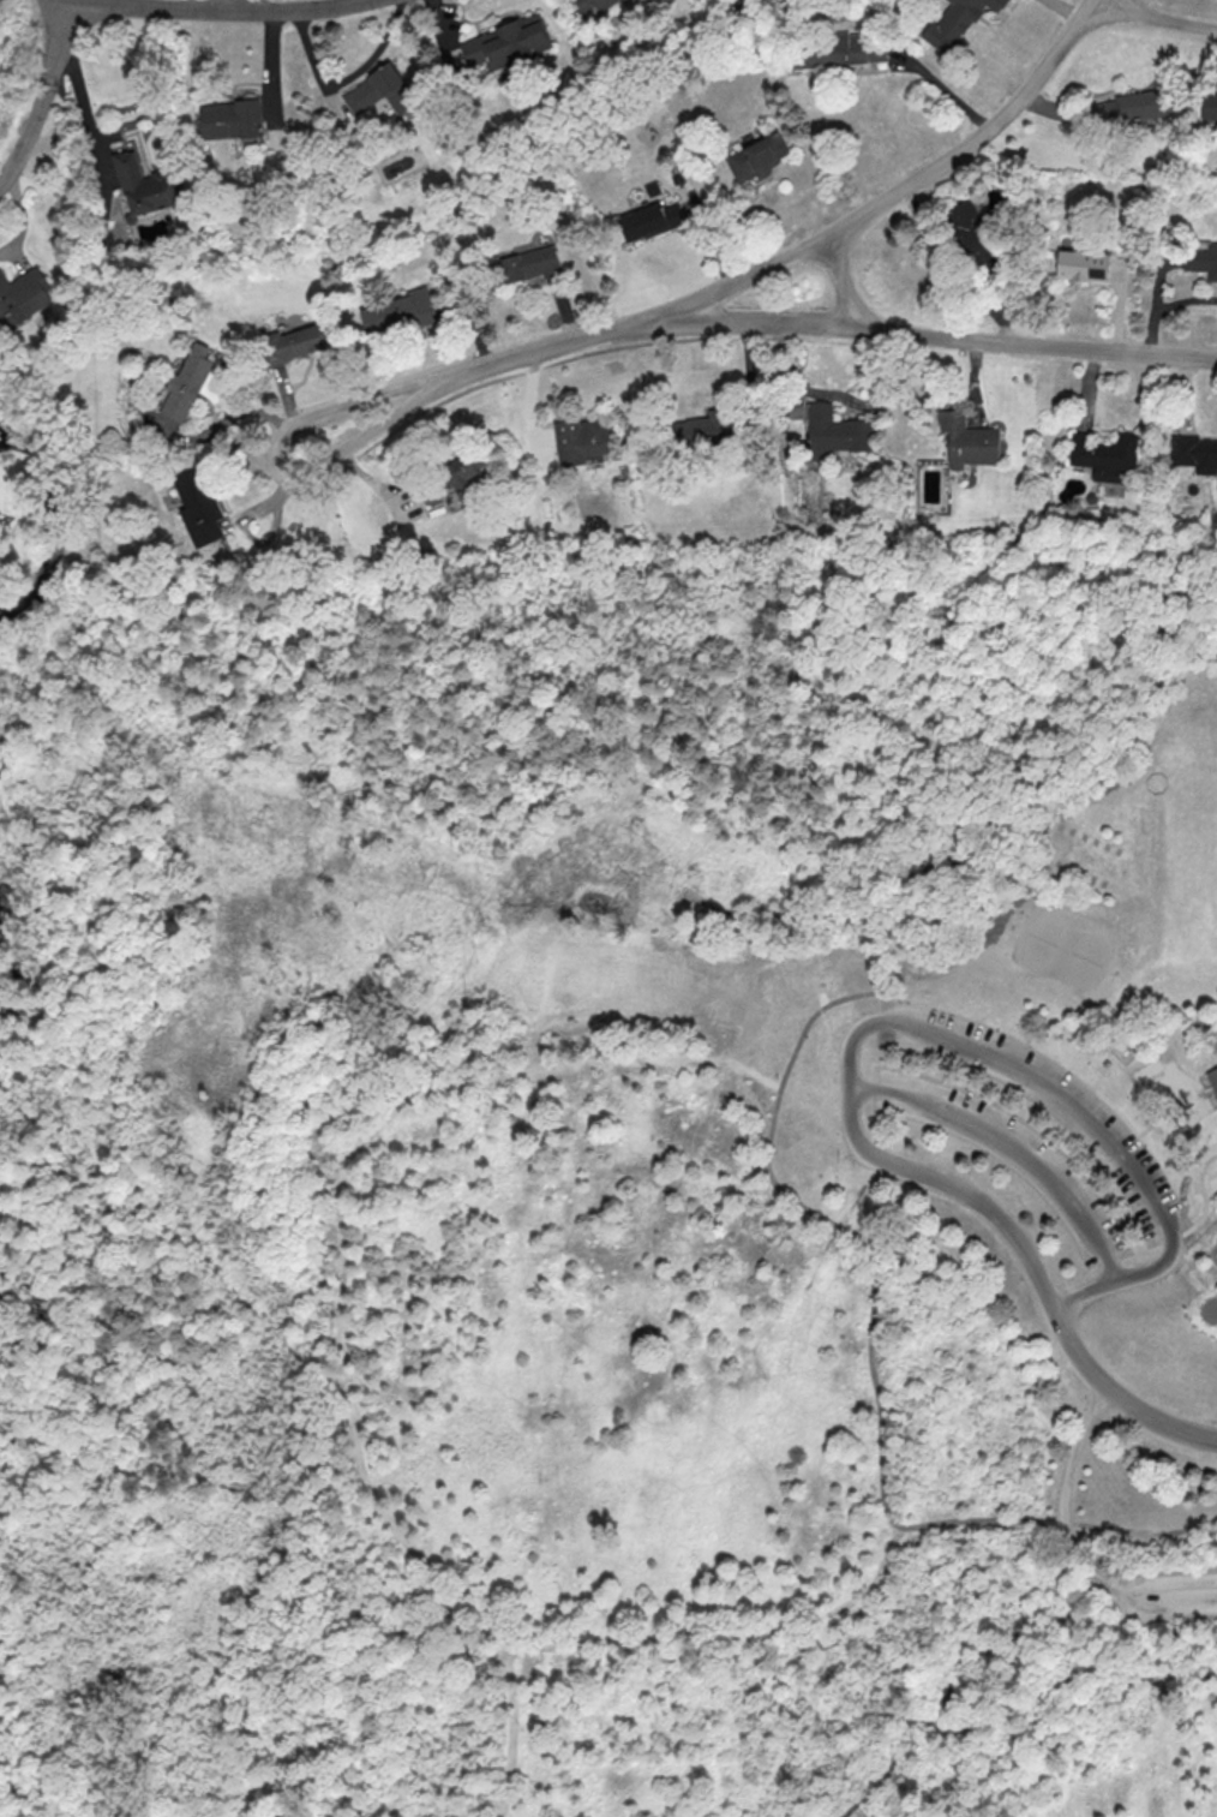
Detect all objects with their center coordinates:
building: (586, 5)
road: (229, 6)
road: (215, 11)
road: (1157, 14)
building: (955, 23)
building: (506, 42)
building: (839, 49)
road: (77, 82)
building: (379, 90)
road: (46, 94)
building: (1209, 103)
building: (1129, 107)
building: (232, 119)
building: (757, 155)
building: (146, 185)
building: (649, 220)
building: (970, 232)
building: (1201, 262)
building: (524, 265)
building: (1081, 265)
road: (951, 267)
road: (747, 280)
road: (840, 282)
building: (23, 295)
building: (400, 312)
road: (949, 335)
building: (296, 342)
building: (187, 383)
road: (244, 416)
building: (705, 429)
building: (835, 431)
building: (967, 440)
building: (1194, 453)
building: (1104, 455)
building: (463, 473)
road: (289, 486)
river: (49, 506)
building: (198, 508)
road: (116, 766)
park: (1081, 855)
road: (941, 883)
road: (134, 884)
road: (871, 885)
park: (1042, 940)
park: (1080, 960)
road: (23, 985)
park: (648, 985)
road: (899, 1008)
road: (538, 1045)
road: (849, 1076)
road: (326, 1078)
building: (1212, 1078)
road: (1063, 1096)
parking lot: (1045, 1105)
road: (773, 1112)
road: (1014, 1140)
road: (130, 1149)
parking lot: (1007, 1154)
park: (612, 1185)
road: (1200, 1189)
road: (340, 1243)
road: (1213, 1251)
road: (659, 1253)
road: (1111, 1284)
road: (1045, 1289)
road: (50, 1308)
road: (1201, 1308)
river: (40, 1315)
road: (50, 1323)
road: (68, 1323)
road: (308, 1459)
road: (244, 1486)
road: (1065, 1492)
road: (873, 1583)
parking lot: (1159, 1596)
road: (1157, 1597)
road: (1001, 1643)
road: (1175, 1646)
road: (995, 1708)
road: (855, 1811)

